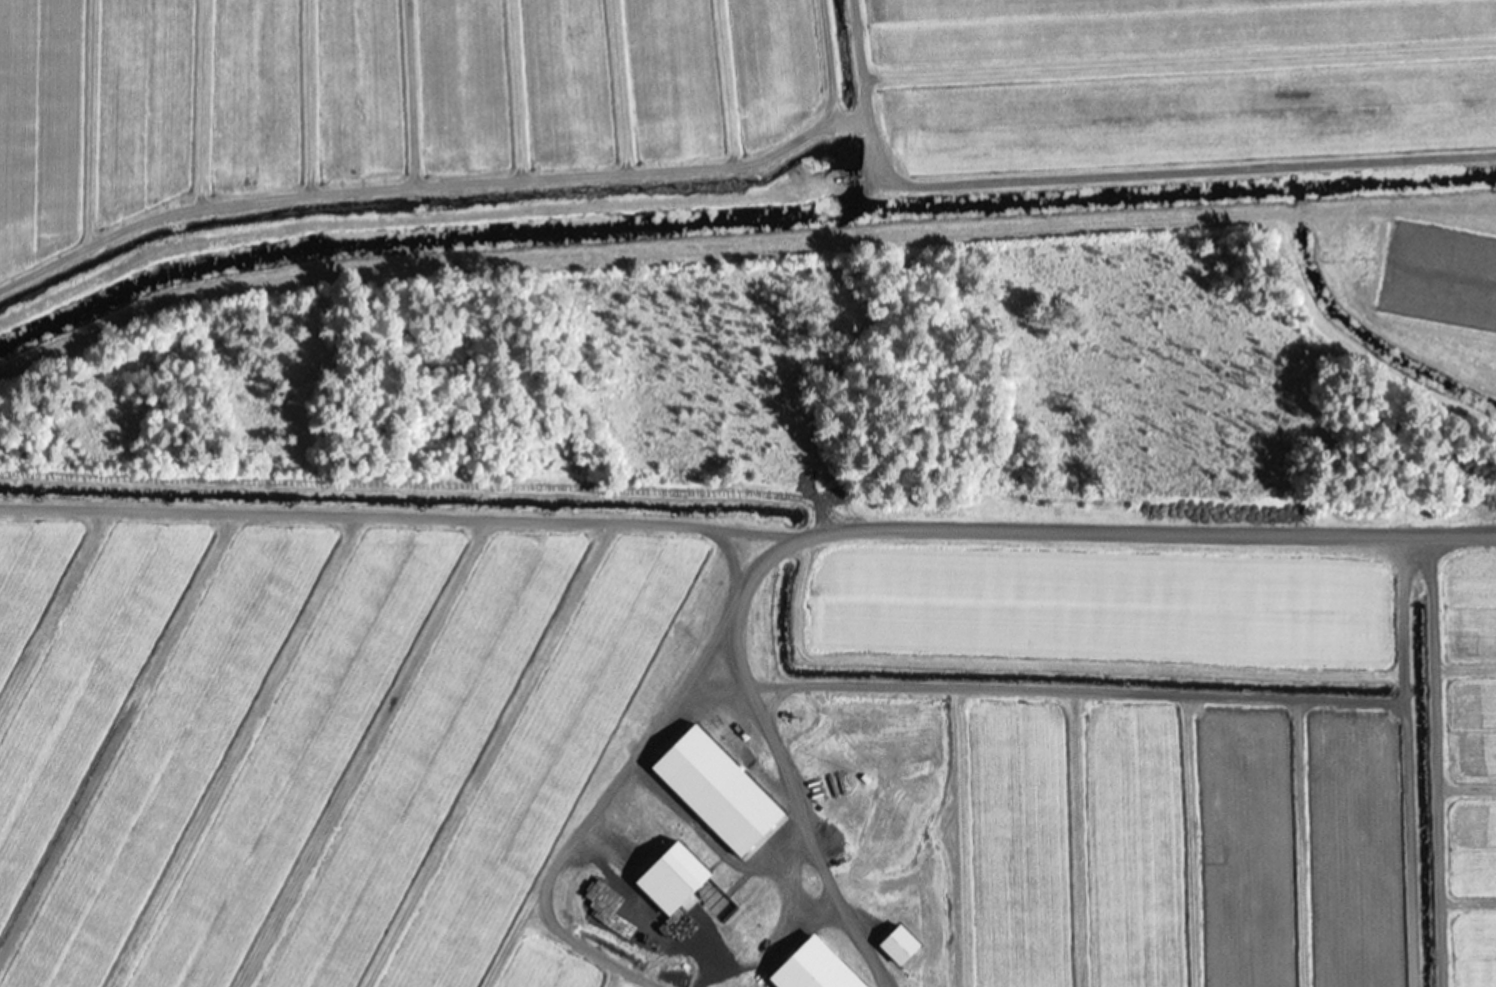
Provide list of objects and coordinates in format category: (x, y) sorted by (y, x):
road: (863, 101)
road: (1345, 206)
road: (1202, 239)
crop: (748, 493)
road: (889, 530)
road: (1430, 761)
building: (718, 784)
road: (330, 820)
building: (682, 868)
road: (274, 901)
building: (898, 944)
building: (813, 968)

